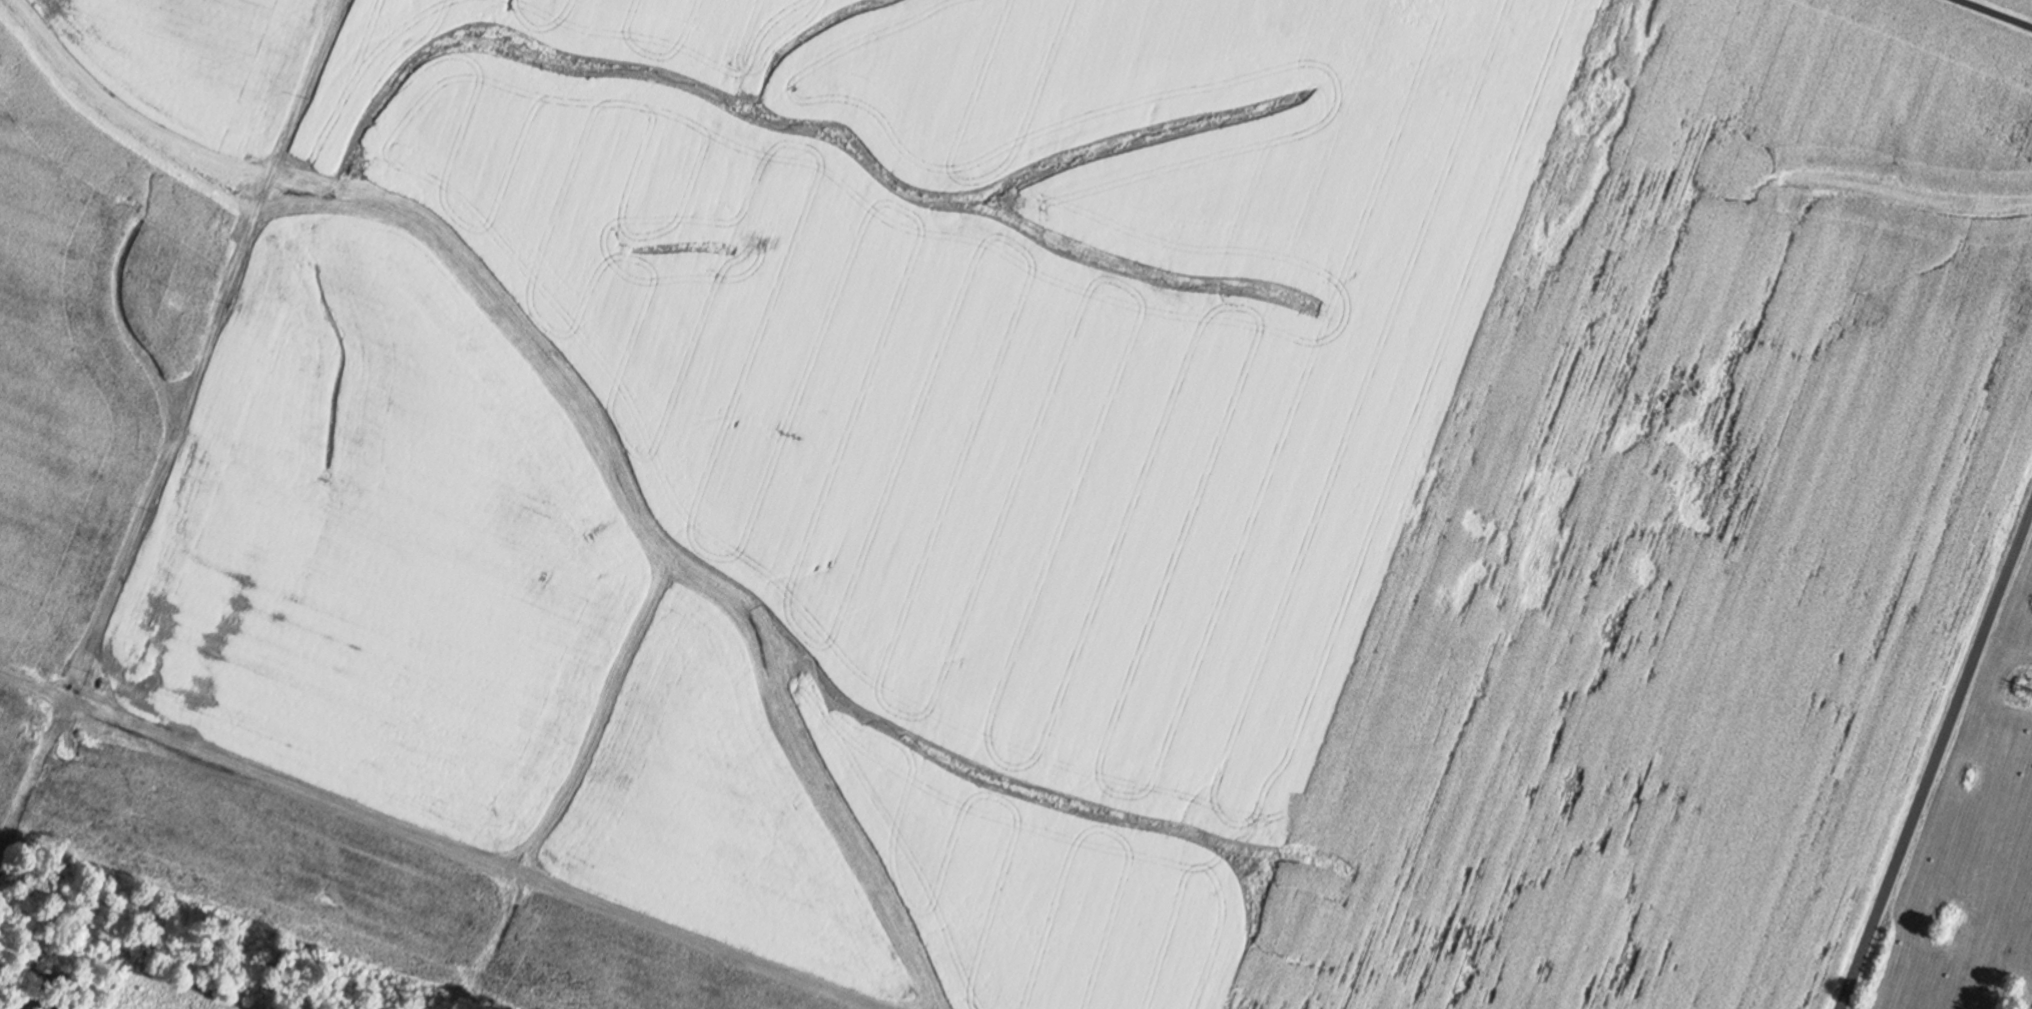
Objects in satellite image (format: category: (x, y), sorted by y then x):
road: (1936, 759)

